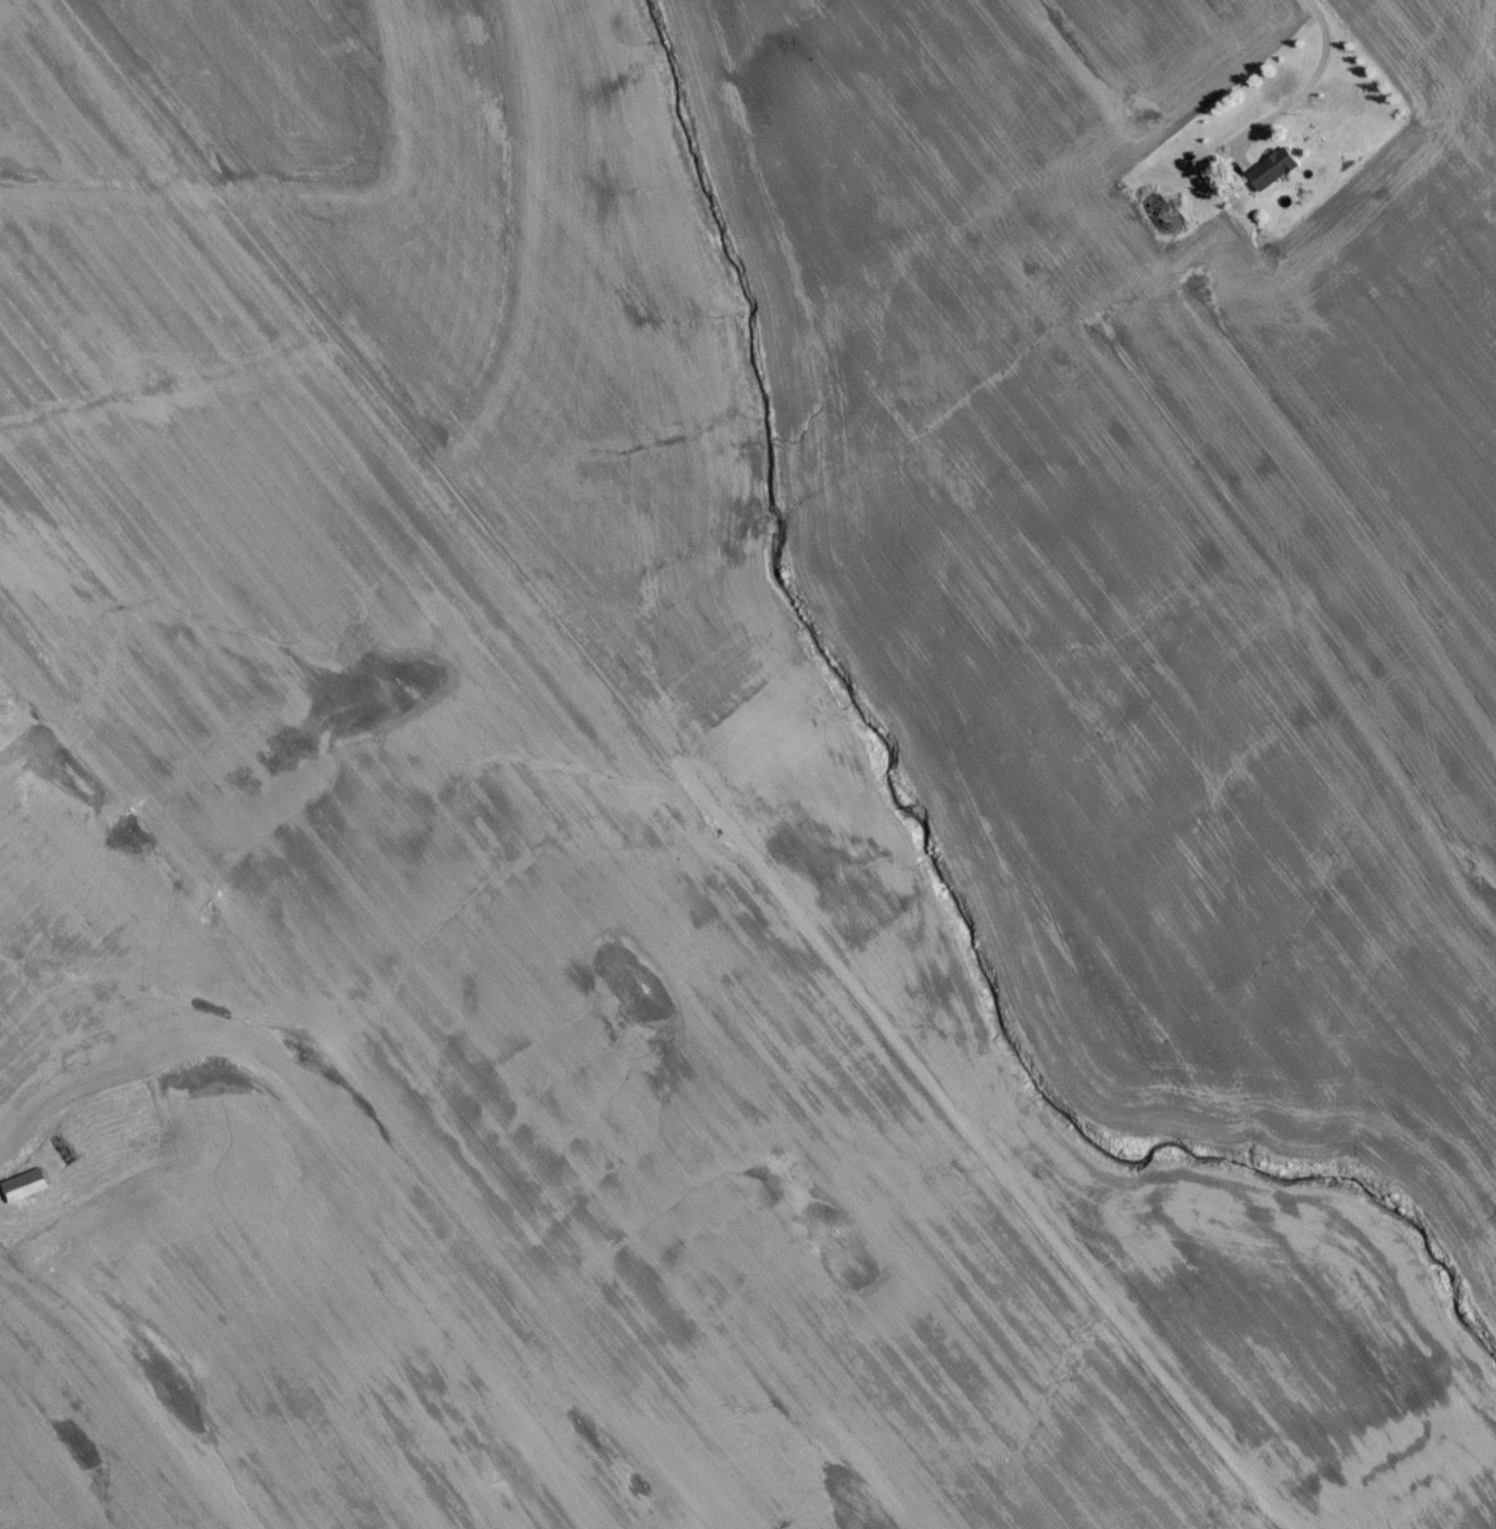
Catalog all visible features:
road: (1292, 101)
building: (27, 1191)
road: (66, 1194)
road: (122, 1388)

